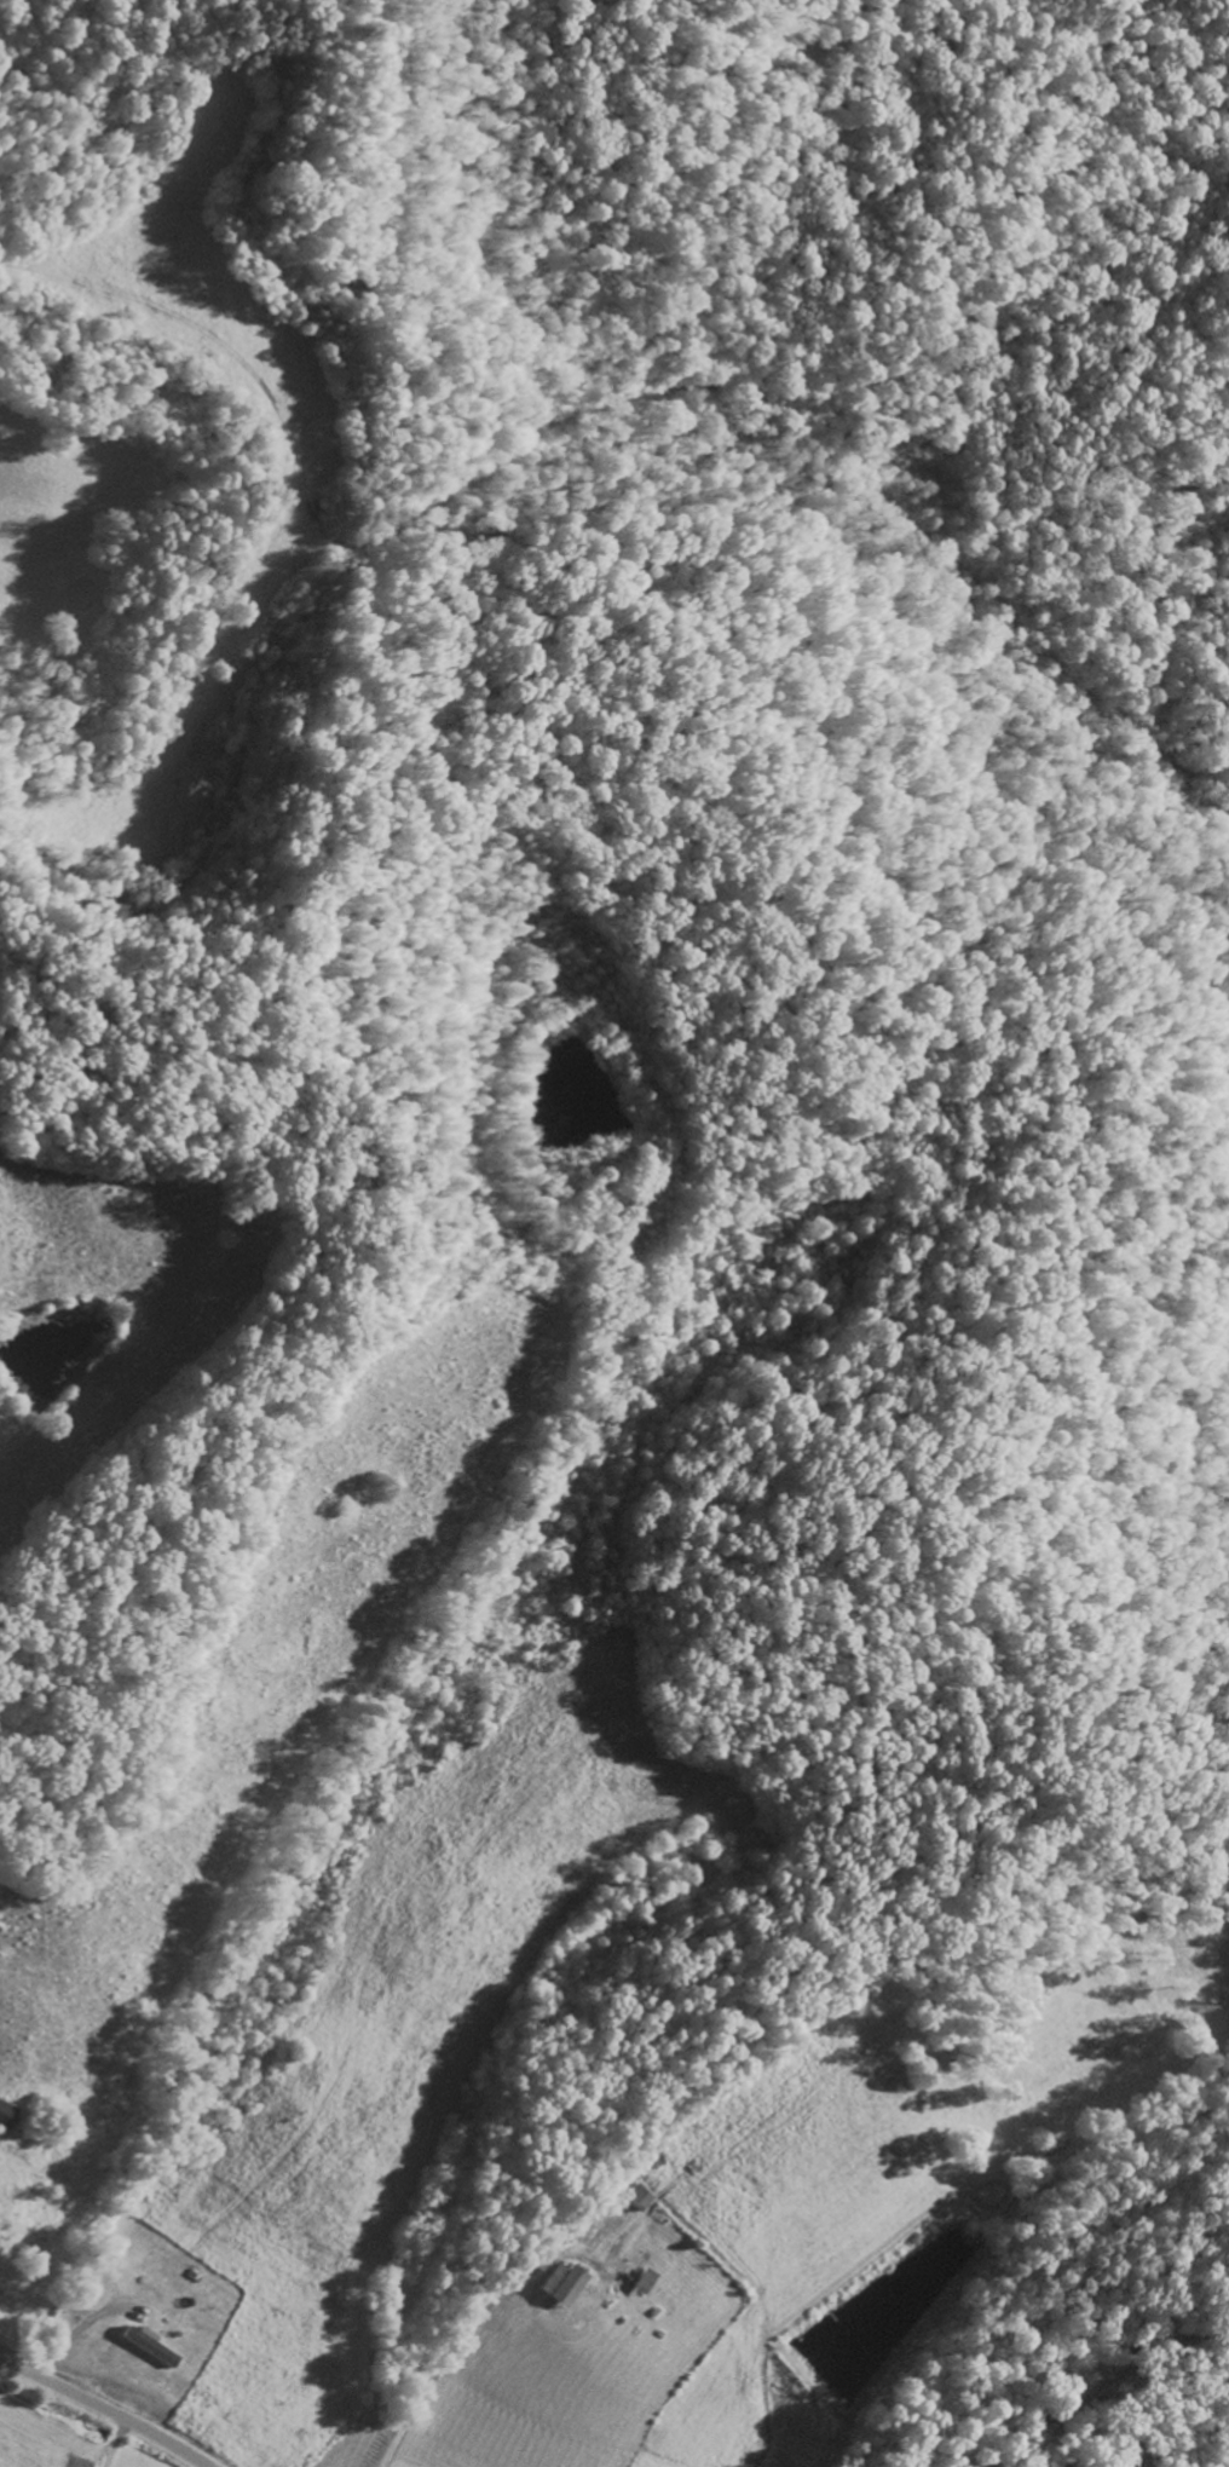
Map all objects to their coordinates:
building: (6, 2114)
building: (639, 2196)
building: (645, 2279)
building: (564, 2282)
building: (148, 2344)
road: (105, 2409)

